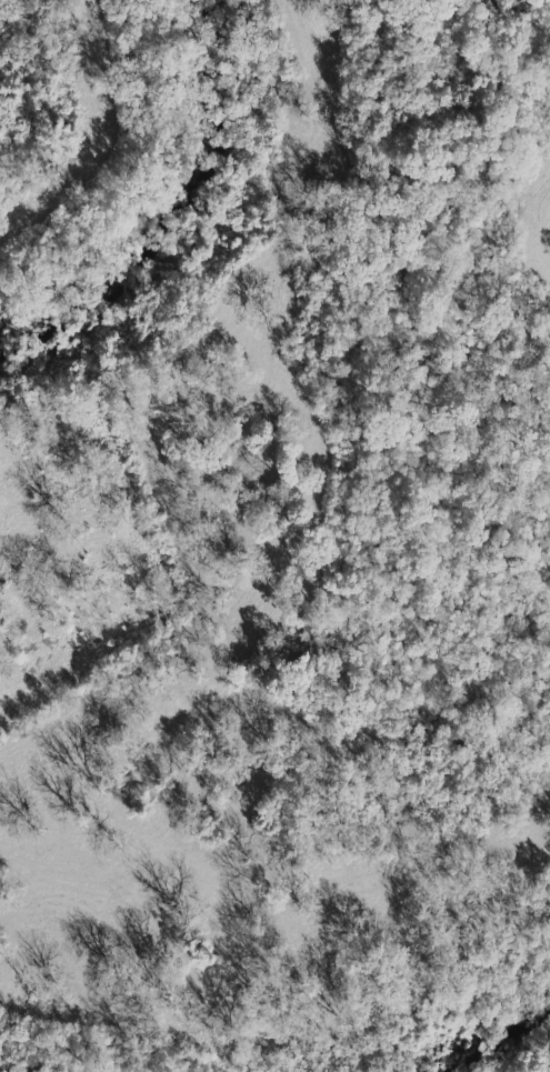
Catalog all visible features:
road: (128, 680)

